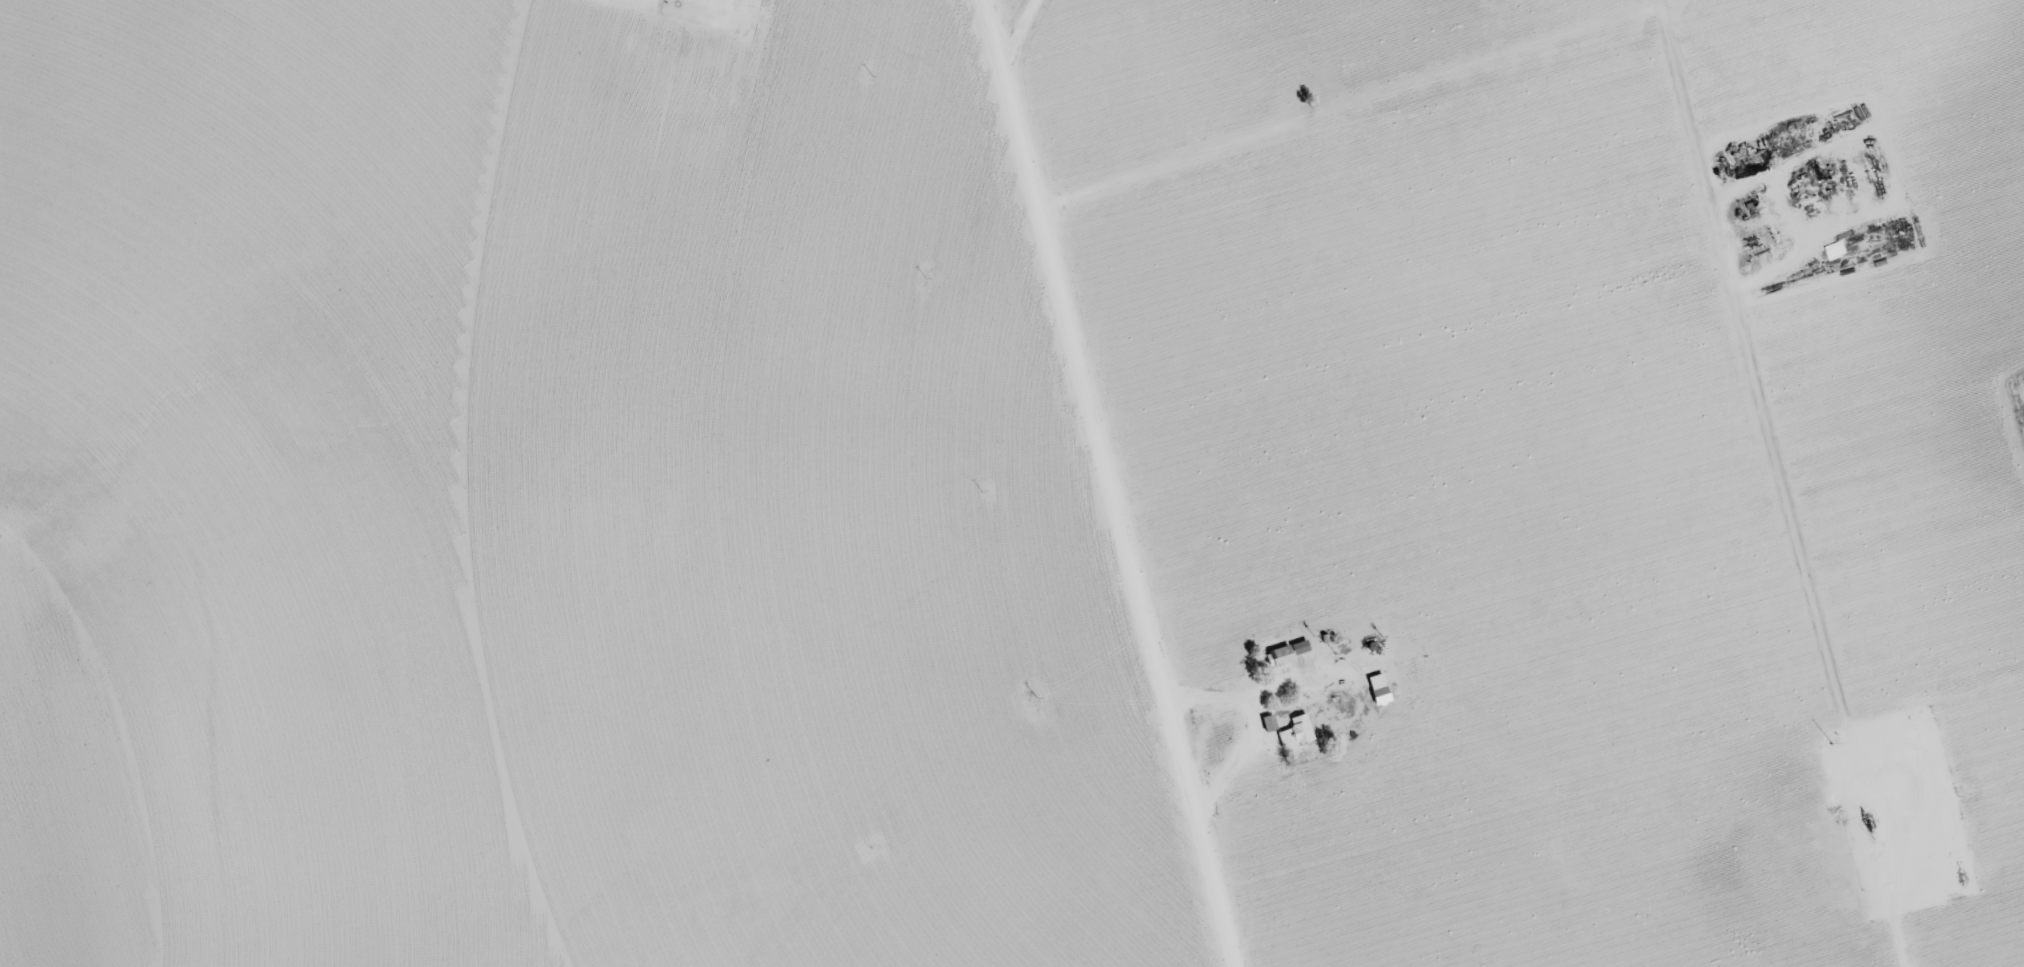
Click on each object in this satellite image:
road: (1098, 480)
building: (1376, 686)
building: (1295, 730)
road: (1251, 732)

